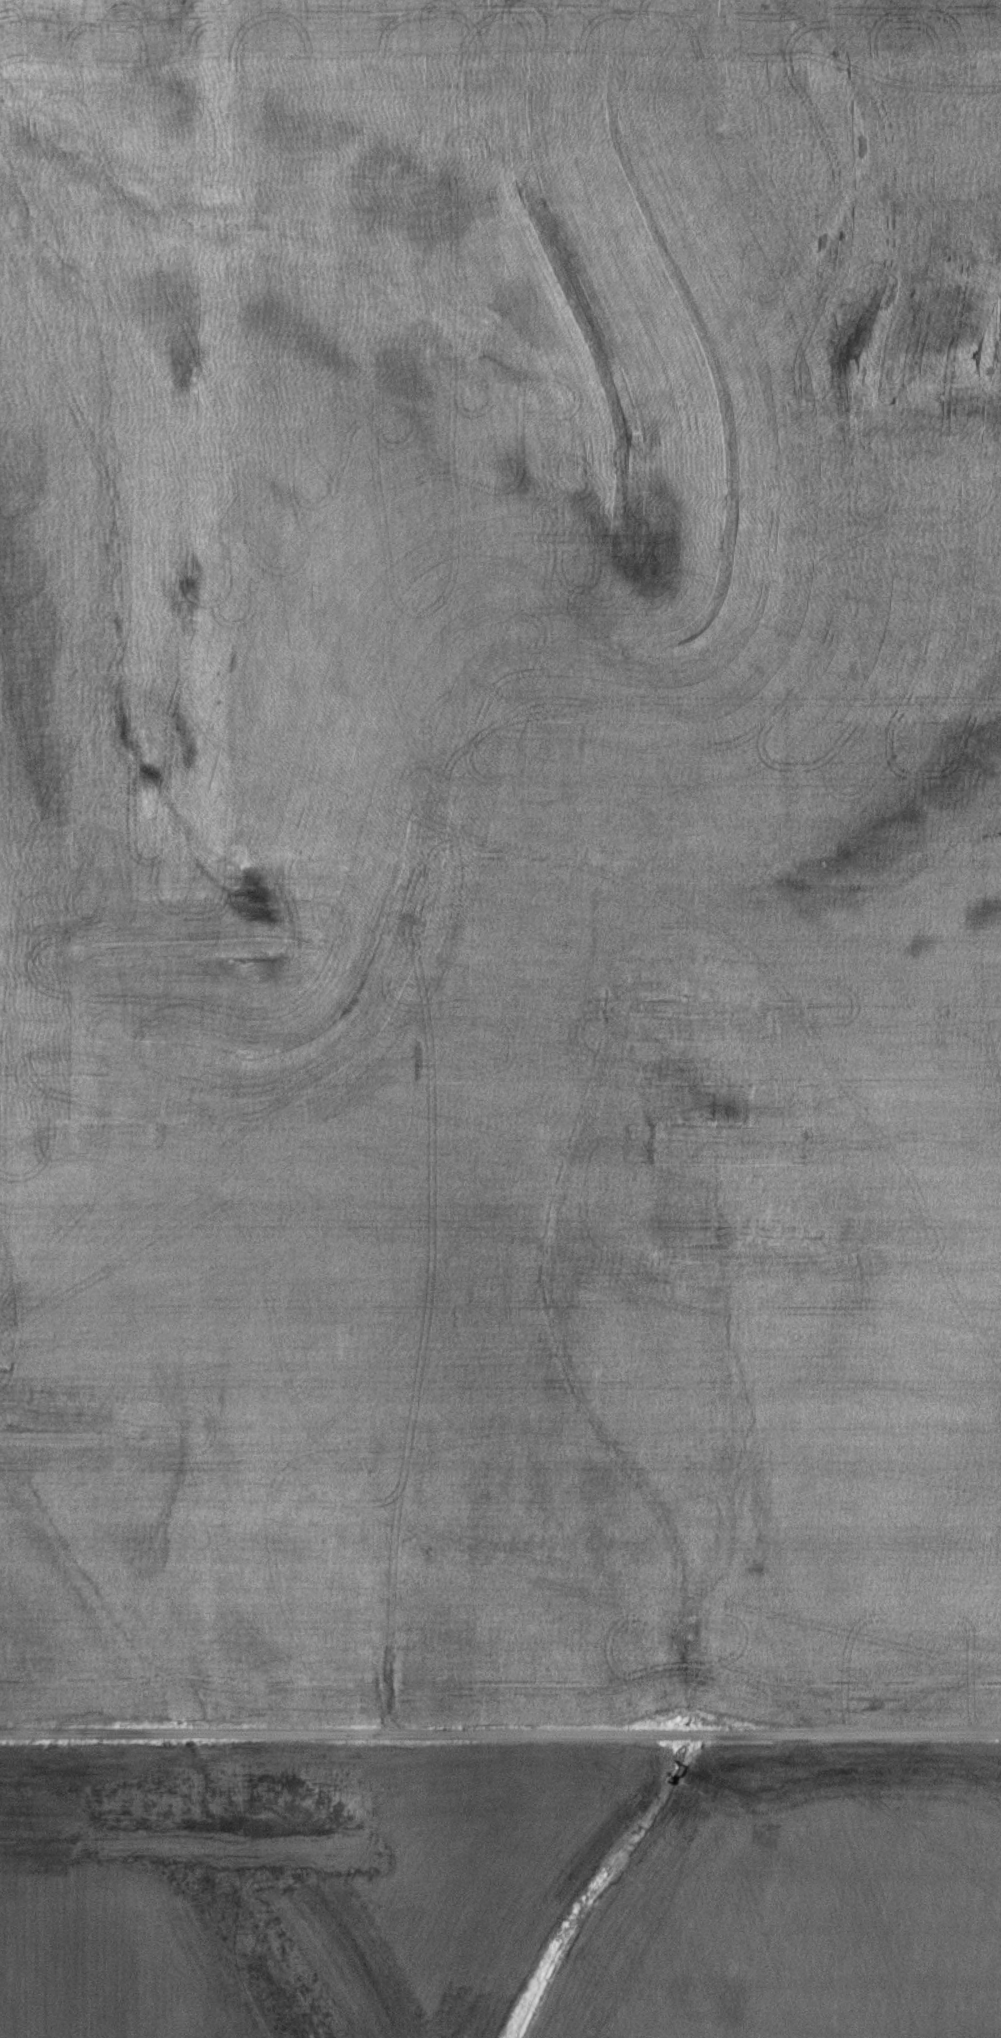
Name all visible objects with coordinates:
road: (500, 1734)

